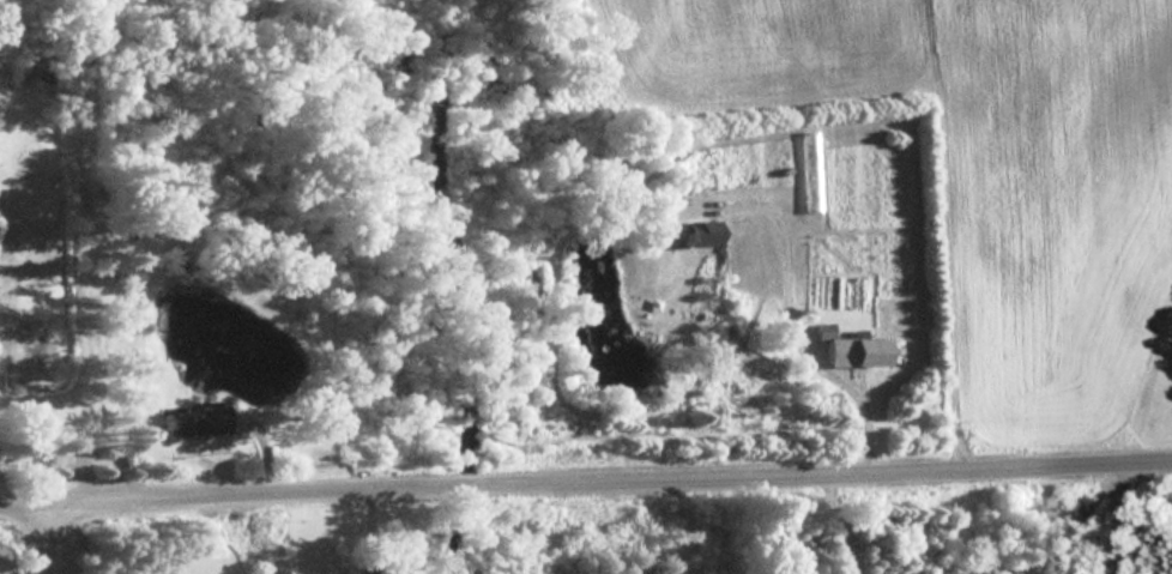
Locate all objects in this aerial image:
building: (696, 234)
road: (797, 328)
building: (853, 351)
building: (191, 422)
road: (585, 472)
road: (834, 510)
road: (49, 534)

